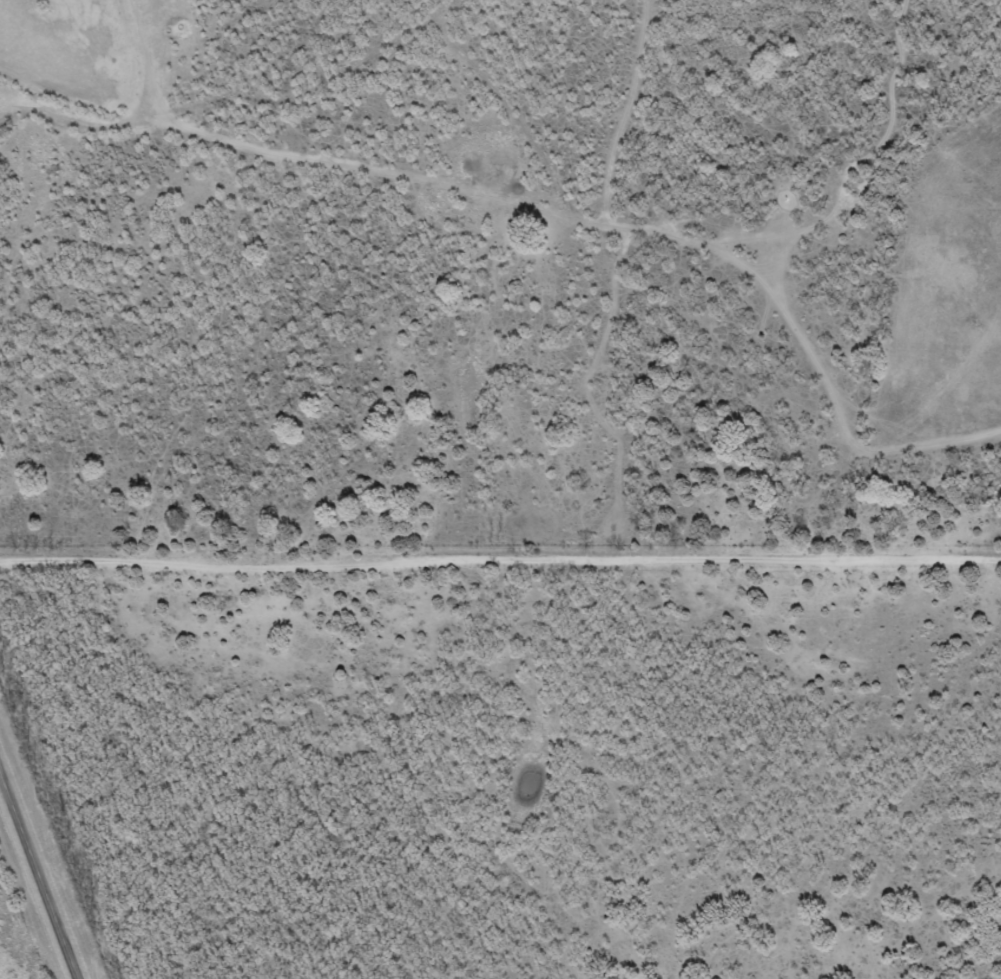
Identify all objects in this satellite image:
road: (500, 582)
road: (39, 873)

